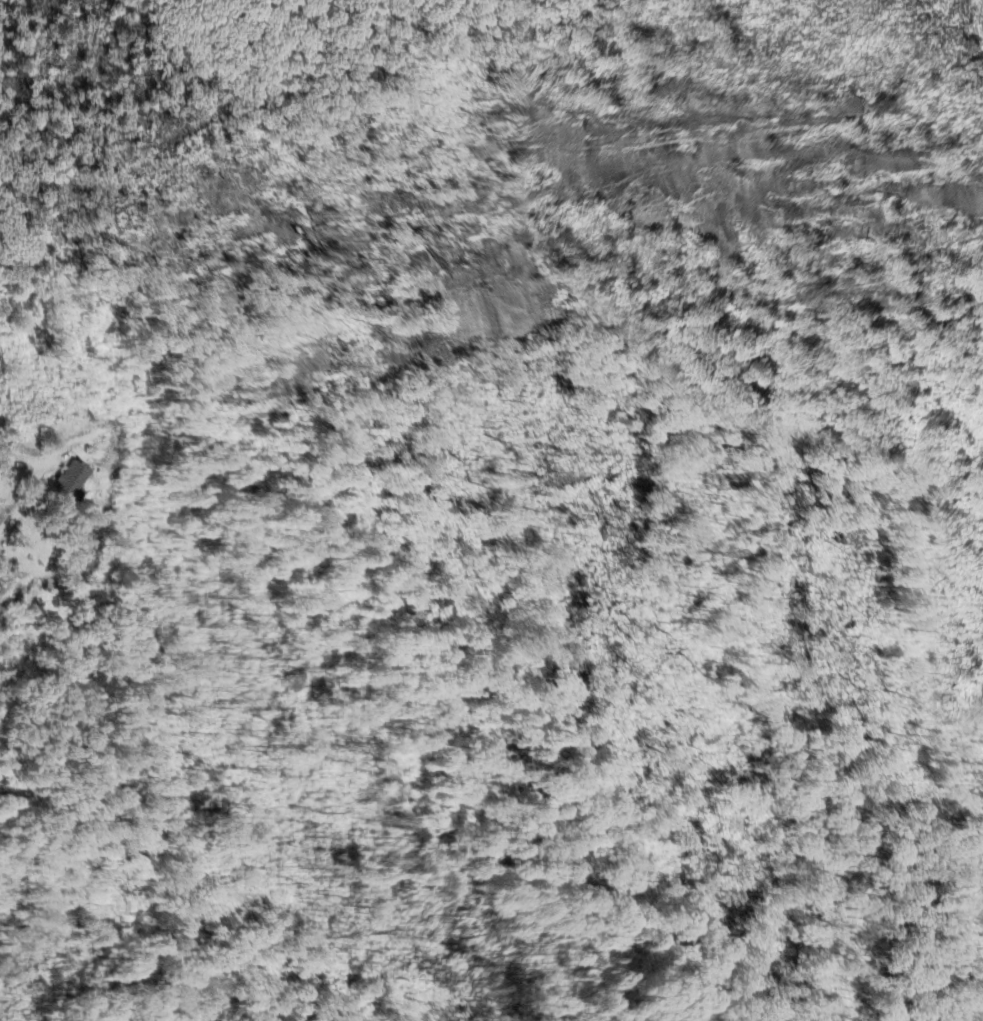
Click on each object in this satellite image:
building: (72, 483)
park: (535, 587)

